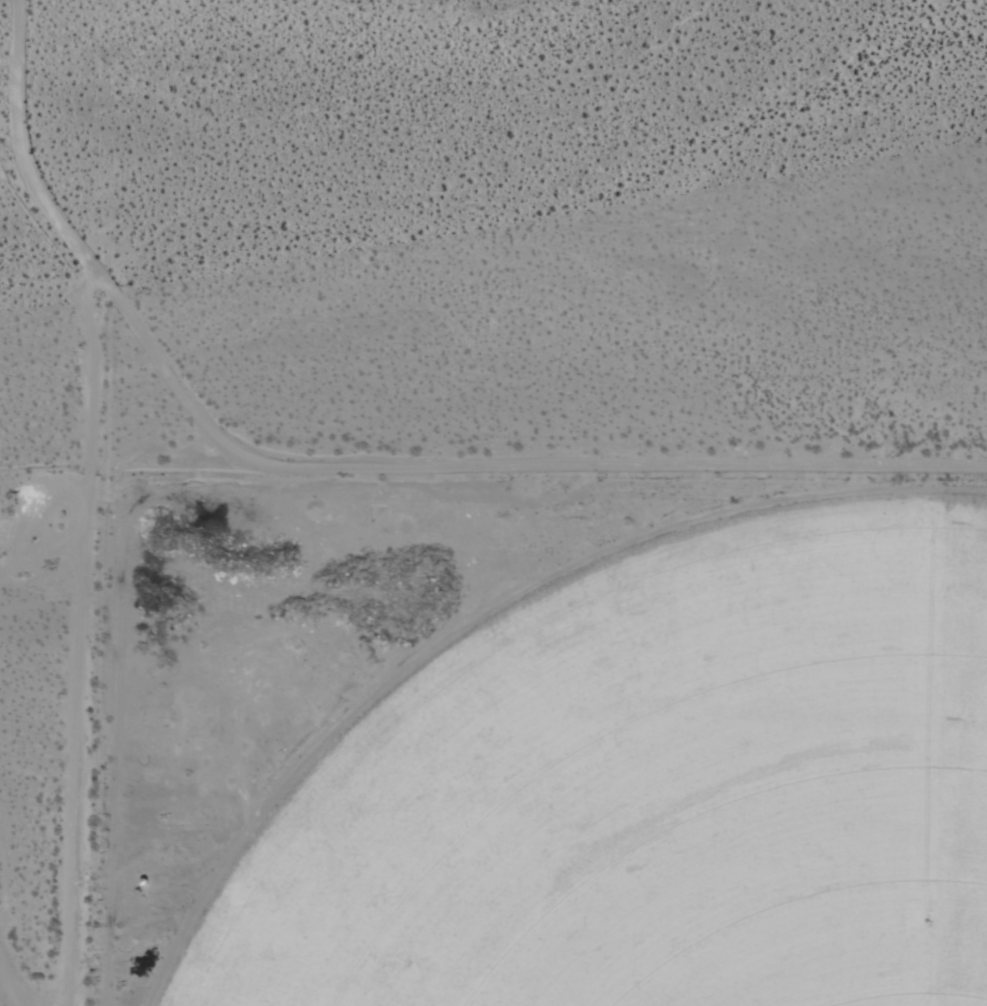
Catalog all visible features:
road: (21, 6)
road: (176, 375)
road: (538, 471)
road: (88, 490)
crop: (666, 799)

